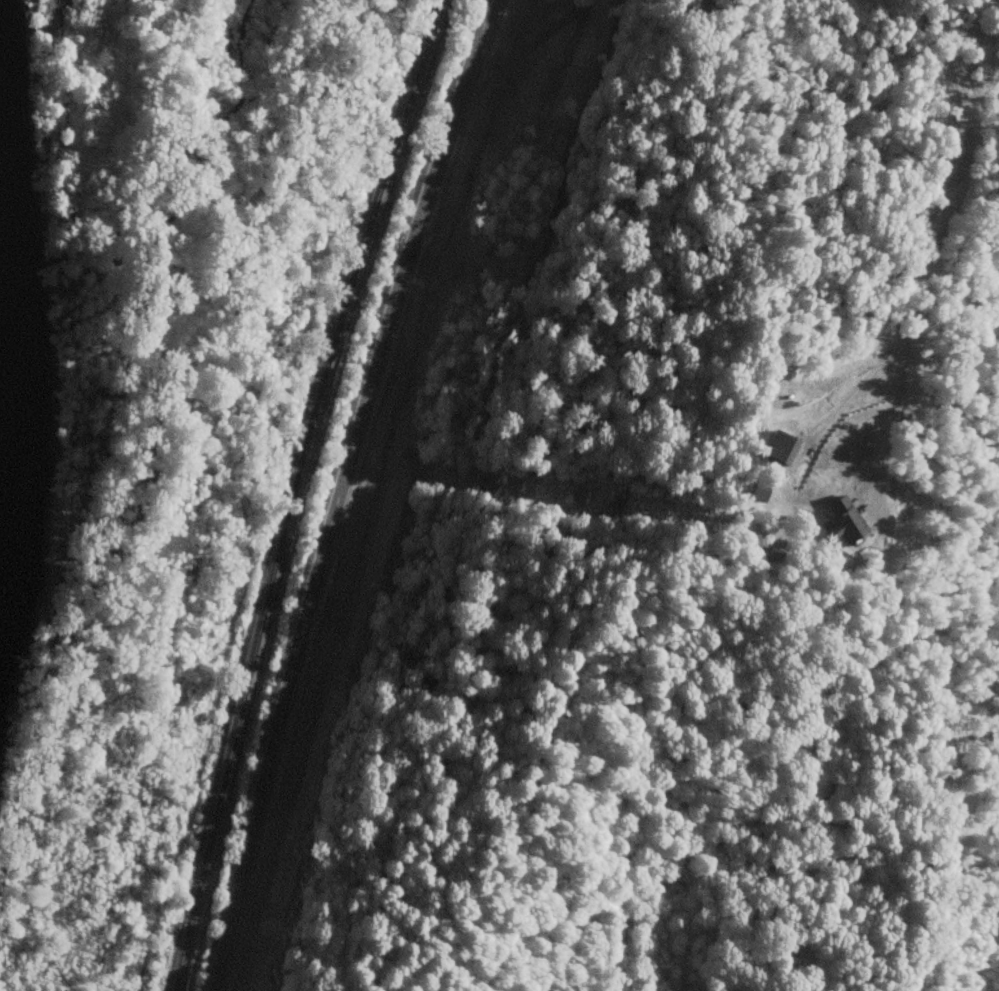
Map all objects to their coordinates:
road: (532, 44)
road: (927, 244)
railway: (283, 491)
road: (338, 491)

